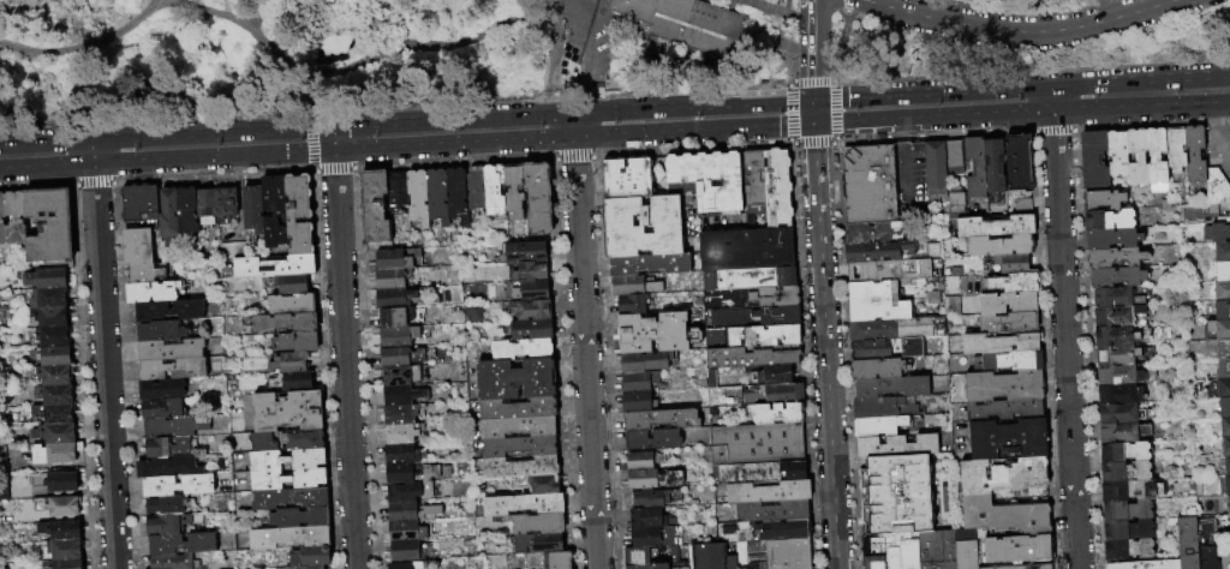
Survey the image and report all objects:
road: (574, 0)
road: (699, 0)
road: (741, 0)
road: (29, 2)
road: (535, 2)
road: (844, 5)
road: (764, 6)
road: (786, 6)
road: (225, 7)
road: (32, 10)
road: (301, 10)
road: (1020, 10)
road: (261, 12)
road: (101, 16)
road: (370, 16)
road: (67, 20)
road: (446, 20)
building: (686, 23)
road: (193, 28)
road: (585, 29)
road: (524, 32)
road: (1013, 34)
road: (151, 36)
road: (83, 46)
road: (786, 46)
road: (838, 46)
road: (812, 49)
park: (542, 50)
road: (513, 55)
road: (551, 58)
road: (357, 61)
road: (223, 67)
road: (1031, 68)
road: (38, 79)
road: (1140, 79)
road: (812, 80)
road: (789, 82)
road: (787, 83)
road: (586, 85)
road: (931, 92)
road: (1052, 98)
traffic signals: (812, 100)
road: (1224, 103)
road: (812, 106)
road: (834, 108)
road: (1136, 108)
road: (788, 112)
road: (572, 113)
road: (1219, 115)
road: (813, 119)
road: (933, 119)
road: (572, 125)
traffic signals: (813, 125)
road: (900, 130)
road: (1052, 132)
road: (166, 134)
road: (933, 134)
road: (333, 139)
road: (834, 139)
road: (789, 142)
road: (831, 142)
road: (812, 144)
road: (406, 148)
road: (691, 148)
building: (1175, 148)
road: (1222, 151)
road: (92, 152)
building: (1117, 154)
building: (1194, 154)
building: (1152, 156)
road: (573, 157)
building: (954, 157)
building: (1140, 157)
building: (1093, 158)
building: (1017, 163)
building: (935, 168)
building: (974, 168)
building: (993, 168)
building: (753, 175)
road: (903, 176)
building: (627, 178)
building: (707, 180)
parking lot: (909, 181)
building: (868, 184)
building: (777, 185)
building: (1216, 187)
building: (474, 188)
building: (494, 190)
building: (398, 191)
building: (514, 191)
building: (456, 194)
building: (437, 196)
building: (418, 197)
building: (538, 197)
building: (955, 197)
building: (1101, 199)
building: (226, 203)
building: (139, 204)
building: (205, 206)
building: (1022, 206)
building: (375, 209)
building: (253, 210)
building: (274, 211)
building: (187, 212)
building: (169, 214)
building: (298, 215)
building: (16, 217)
building: (2, 218)
building: (1107, 220)
building: (50, 224)
building: (995, 224)
building: (641, 226)
building: (872, 232)
building: (1216, 232)
building: (1111, 238)
building: (999, 245)
building: (746, 246)
building: (137, 247)
building: (232, 251)
building: (884, 251)
building: (1222, 251)
building: (525, 252)
building: (1115, 257)
building: (395, 258)
building: (1011, 263)
building: (649, 264)
building: (274, 268)
road: (1077, 269)
building: (892, 270)
building: (531, 271)
building: (1222, 271)
building: (147, 272)
building: (753, 276)
building: (1116, 276)
building: (392, 277)
building: (48, 278)
building: (1011, 282)
building: (293, 284)
building: (633, 286)
building: (531, 291)
building: (1222, 291)
building: (151, 293)
building: (752, 297)
building: (1115, 297)
building: (50, 298)
building: (394, 298)
building: (877, 301)
building: (1007, 303)
building: (632, 304)
building: (292, 305)
building: (4, 306)
building: (532, 309)
building: (1222, 310)
building: (169, 311)
building: (471, 312)
building: (1, 313)
building: (1115, 315)
building: (752, 316)
building: (54, 317)
building: (399, 317)
building: (1008, 322)
building: (280, 324)
building: (532, 329)
building: (895, 329)
building: (1218, 329)
building: (160, 331)
building: (653, 333)
building: (55, 336)
building: (399, 336)
building: (762, 336)
building: (1115, 336)
road: (1065, 340)
building: (298, 343)
building: (999, 343)
road: (824, 346)
building: (1223, 348)
building: (523, 349)
building: (871, 349)
building: (171, 351)
road: (1045, 351)
road: (584, 353)
road: (844, 354)
building: (1116, 354)
building: (56, 355)
road: (801, 355)
building: (401, 357)
building: (754, 358)
road: (345, 360)
building: (644, 361)
building: (1009, 361)
road: (605, 363)
building: (291, 364)
road: (103, 367)
building: (877, 369)
building: (1223, 369)
building: (173, 370)
building: (56, 375)
building: (1118, 375)
building: (401, 376)
building: (774, 377)
building: (515, 379)
building: (293, 382)
building: (638, 382)
building: (1002, 385)
building: (890, 387)
building: (1223, 388)
building: (160, 390)
building: (59, 394)
building: (1119, 394)
building: (404, 396)
building: (771, 396)
building: (638, 402)
building: (883, 407)
building: (1224, 407)
building: (518, 408)
building: (1004, 409)
building: (153, 411)
building: (288, 412)
building: (55, 413)
building: (1119, 413)
building: (401, 414)
building: (777, 415)
building: (659, 419)
building: (519, 426)
building: (878, 426)
building: (1224, 426)
building: (174, 427)
building: (56, 432)
building: (1122, 432)
building: (402, 433)
building: (1008, 438)
building: (305, 439)
building: (652, 439)
building: (263, 443)
building: (520, 445)
building: (758, 445)
building: (896, 445)
building: (1225, 445)
building: (157, 448)
building: (1124, 451)
building: (56, 453)
building: (402, 454)
building: (287, 461)
building: (643, 461)
building: (1226, 466)
building: (167, 467)
building: (520, 467)
building: (1124, 472)
building: (411, 473)
building: (759, 474)
building: (651, 479)
building: (288, 480)
building: (64, 481)
building: (539, 484)
building: (1226, 485)
building: (179, 486)
building: (1132, 490)
building: (410, 491)
building: (765, 493)
building: (902, 493)
building: (975, 497)
building: (289, 498)
building: (650, 499)
building: (524, 503)
building: (1228, 504)
building: (65, 505)
building: (165, 507)
building: (1125, 510)
building: (411, 511)
building: (771, 511)
building: (299, 519)
building: (646, 519)
building: (537, 522)
building: (166, 525)
building: (782, 529)
building: (1125, 529)
building: (67, 531)
building: (406, 532)
building: (651, 537)
building: (289, 538)
building: (539, 543)
building: (183, 544)
building: (1187, 544)
building: (1207, 547)
building: (965, 549)
building: (1017, 549)
building: (1127, 549)
building: (64, 550)
building: (907, 550)
building: (936, 550)
building: (406, 551)
building: (880, 552)
building: (787, 553)
building: (756, 555)
building: (311, 557)
building: (709, 557)
building: (557, 559)
building: (637, 559)
building: (171, 562)
building: (730, 562)
building: (1225, 562)
building: (65, 564)
building: (1145, 564)
building: (408, 565)
building: (659, 565)
building: (1020, 567)
building: (247, 568)
building: (312, 568)
building: (681, 568)

